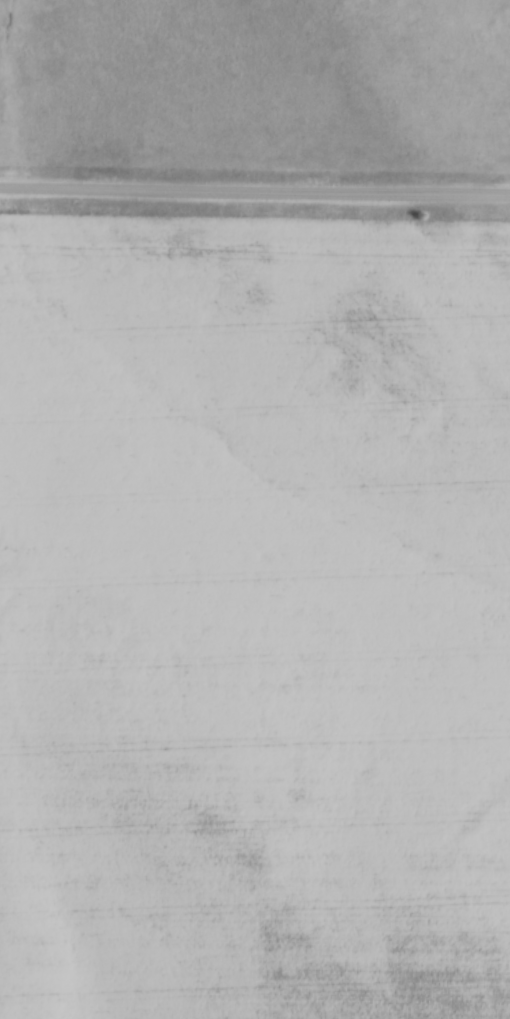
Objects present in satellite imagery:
road: (254, 198)

